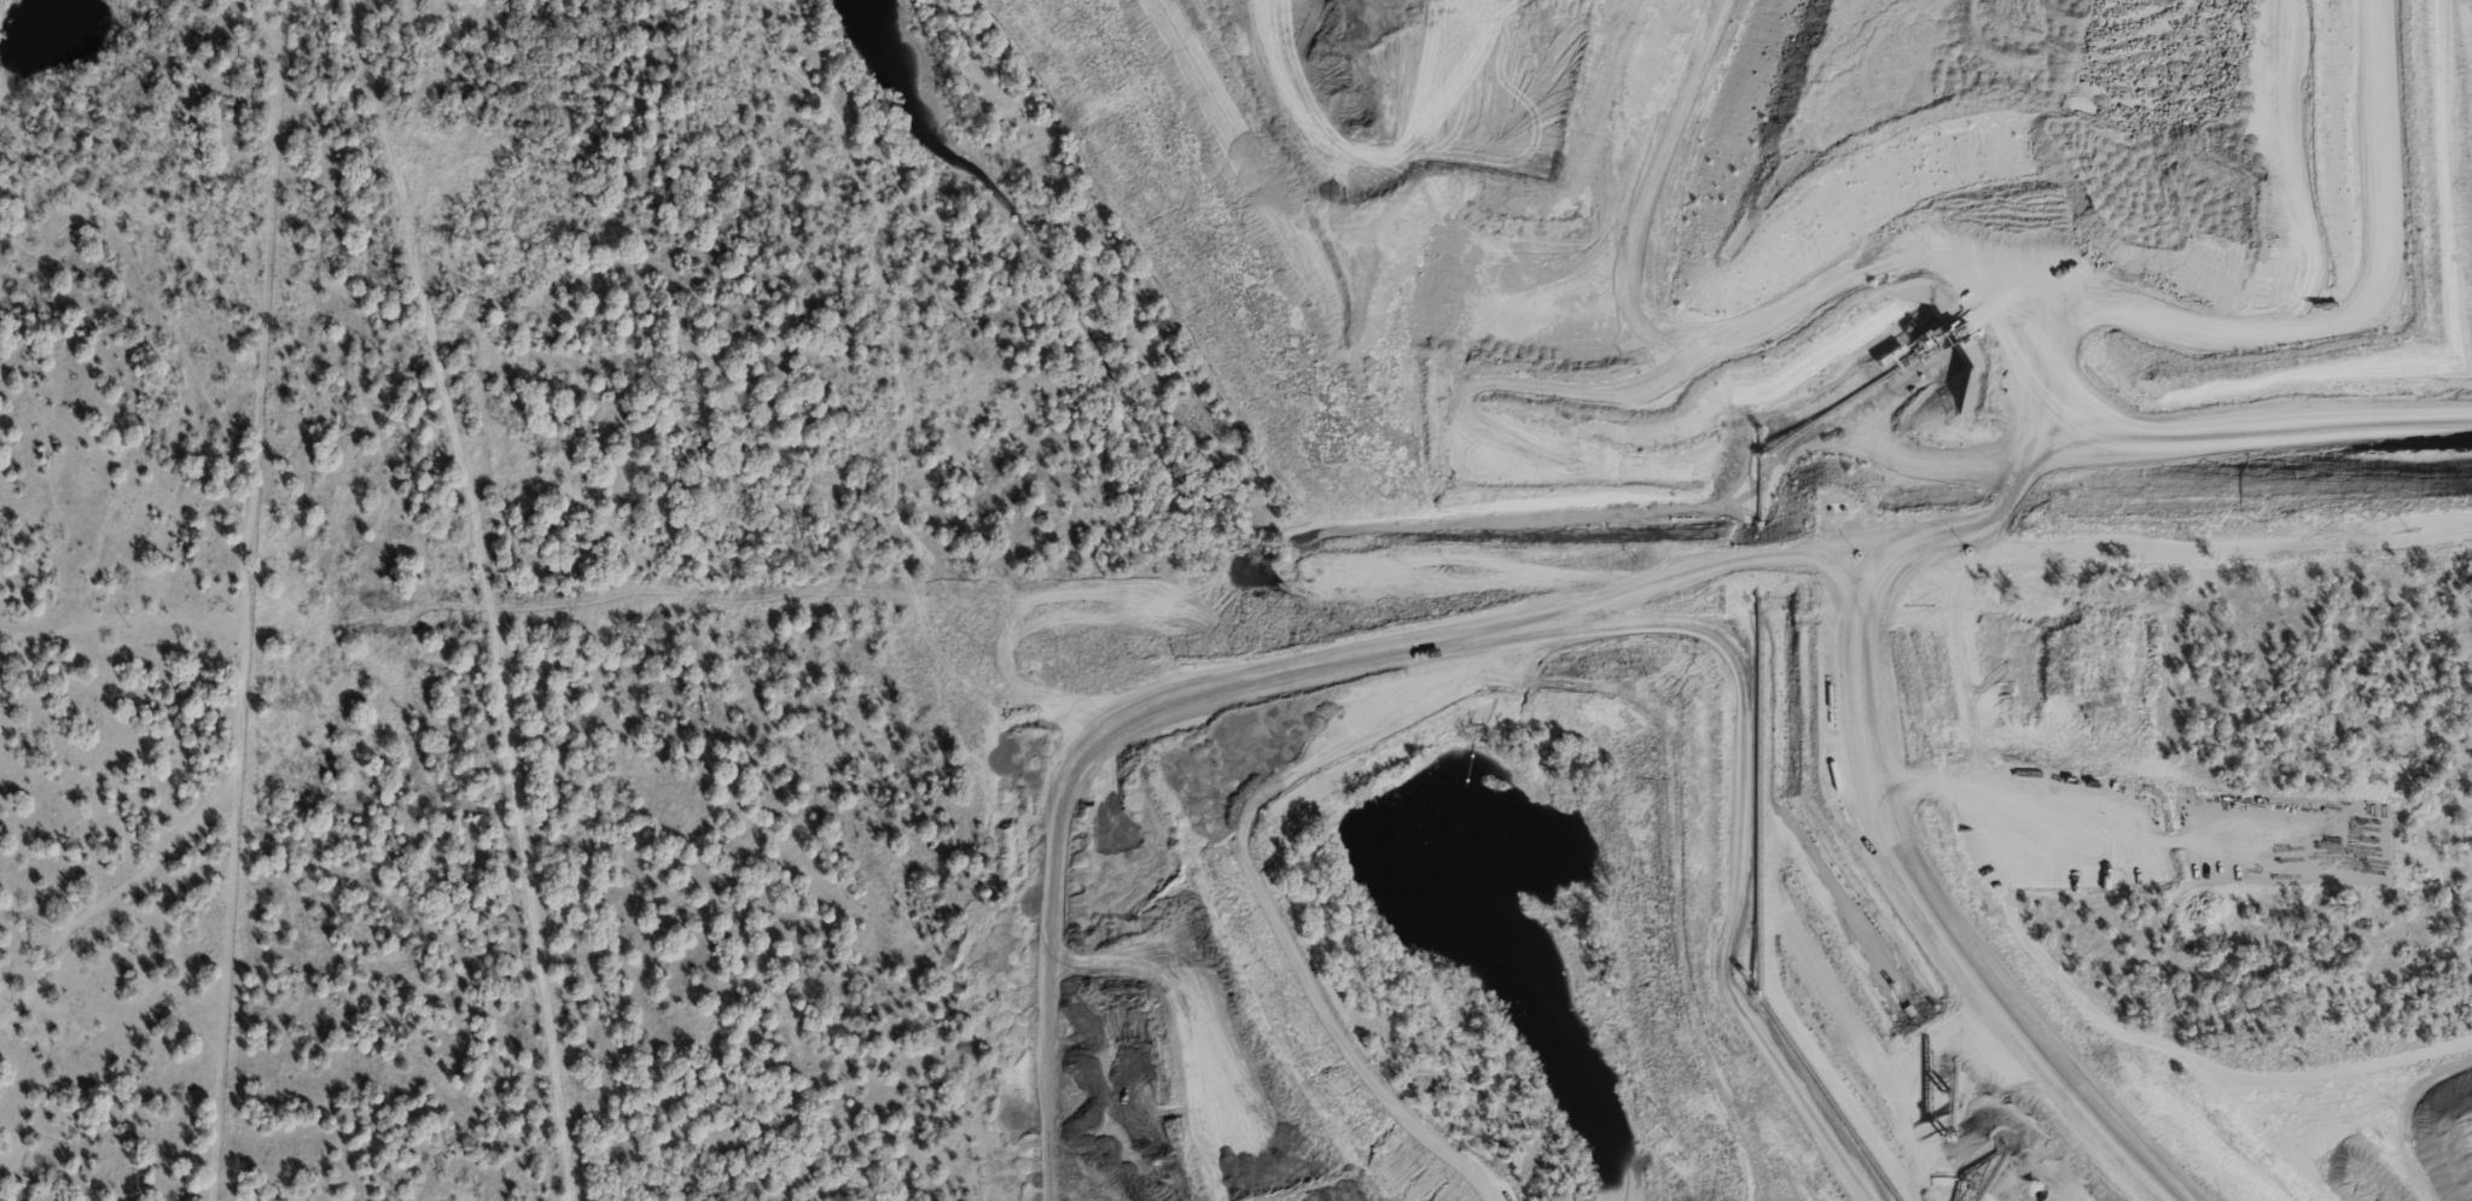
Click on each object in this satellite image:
building: (420, 5)
road: (1580, 332)
road: (898, 476)
road: (487, 595)
road: (1634, 739)
road: (1319, 1025)
road: (2274, 1107)
road: (1025, 1112)
road: (1048, 1182)

